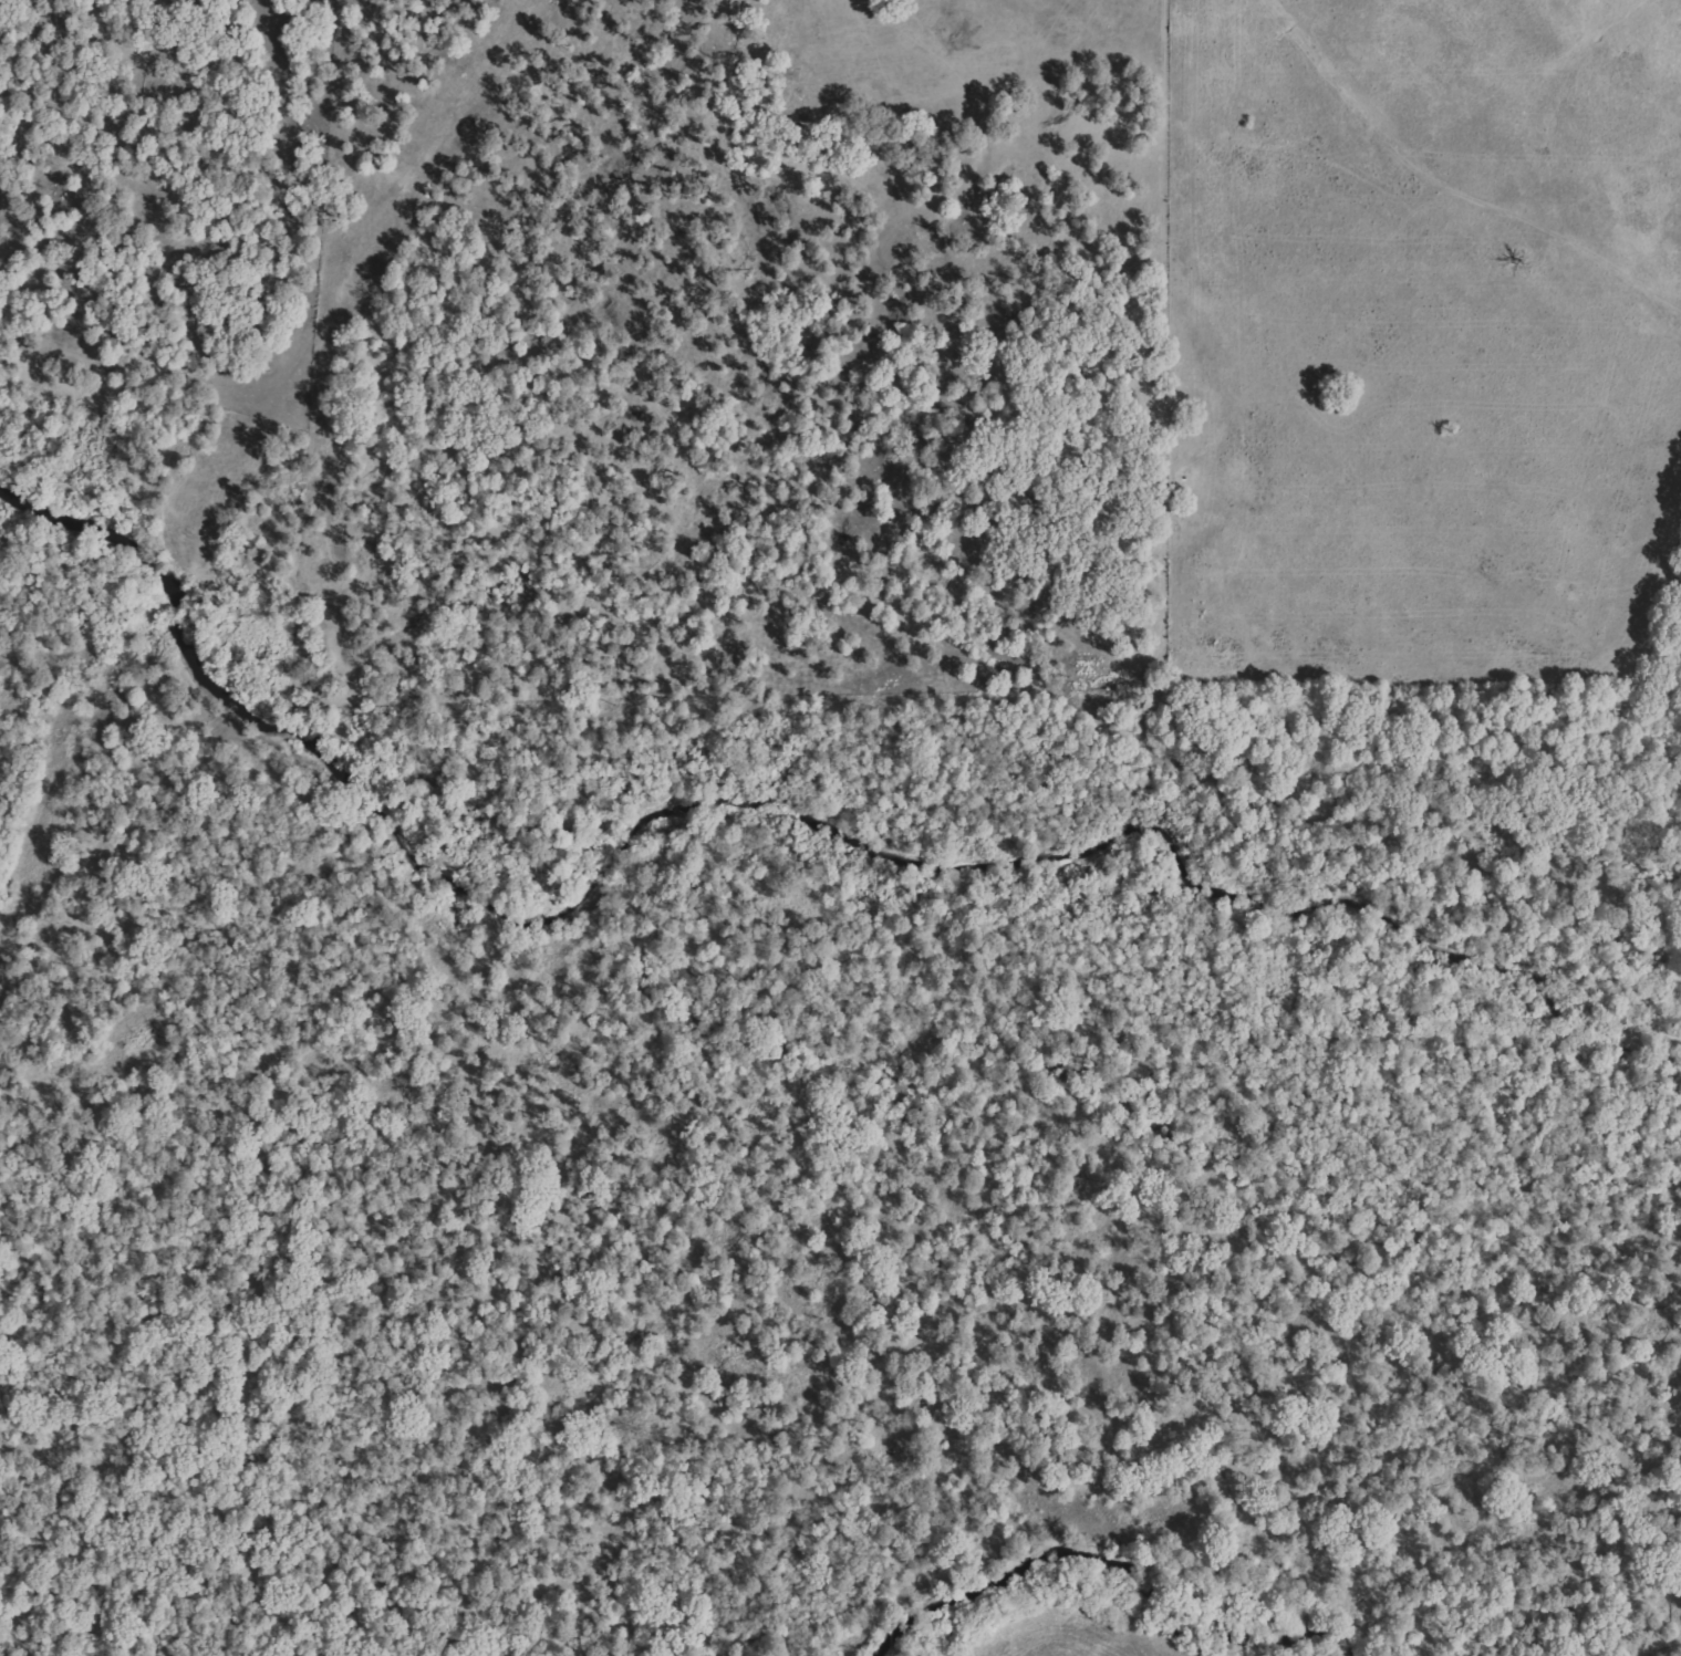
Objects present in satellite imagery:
river: (1112, 1563)

